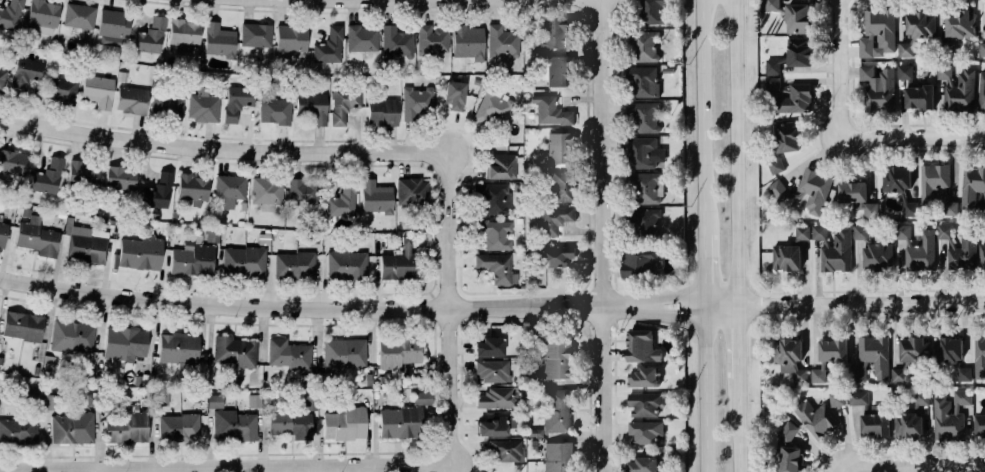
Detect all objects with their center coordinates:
road: (427, 1)
building: (769, 5)
building: (652, 11)
building: (10, 13)
building: (78, 15)
building: (43, 16)
building: (798, 18)
building: (920, 25)
building: (113, 27)
building: (957, 29)
building: (547, 33)
building: (182, 34)
building: (255, 34)
building: (877, 34)
building: (149, 35)
building: (290, 37)
building: (359, 38)
building: (218, 39)
building: (430, 39)
building: (502, 41)
building: (396, 42)
building: (467, 42)
building: (645, 45)
building: (329, 46)
building: (908, 49)
building: (982, 49)
building: (799, 51)
road: (585, 54)
building: (0, 64)
road: (838, 65)
building: (772, 66)
building: (558, 71)
building: (904, 72)
building: (24, 74)
building: (2, 79)
building: (643, 81)
building: (878, 88)
building: (956, 88)
building: (60, 89)
building: (96, 89)
building: (981, 93)
building: (454, 95)
building: (789, 96)
building: (919, 97)
building: (130, 99)
building: (236, 100)
building: (415, 101)
street lamp: (829, 101)
building: (343, 104)
building: (491, 104)
building: (202, 105)
building: (165, 106)
building: (312, 106)
building: (275, 110)
building: (548, 110)
building: (382, 112)
building: (643, 115)
road: (706, 116)
road: (852, 121)
road: (858, 123)
road: (912, 135)
building: (785, 137)
road: (350, 138)
road: (611, 140)
road: (221, 148)
building: (559, 148)
building: (640, 152)
road: (599, 153)
road: (735, 153)
road: (824, 157)
building: (12, 162)
building: (774, 165)
building: (500, 166)
building: (83, 174)
building: (47, 176)
building: (119, 177)
building: (971, 185)
building: (561, 186)
building: (643, 186)
building: (191, 187)
building: (936, 187)
building: (901, 188)
building: (230, 189)
building: (814, 189)
building: (410, 190)
building: (158, 191)
building: (267, 192)
building: (304, 192)
building: (779, 193)
building: (376, 196)
building: (493, 197)
building: (858, 198)
building: (343, 200)
building: (980, 200)
street lamp: (610, 204)
building: (551, 218)
building: (645, 223)
road: (580, 229)
building: (819, 232)
building: (861, 232)
building: (2, 233)
building: (495, 233)
building: (801, 233)
building: (945, 233)
building: (213, 235)
building: (35, 236)
building: (87, 244)
road: (587, 249)
building: (917, 249)
building: (139, 252)
building: (837, 252)
building: (963, 253)
building: (551, 254)
building: (877, 256)
building: (982, 256)
building: (191, 258)
building: (785, 258)
road: (576, 259)
building: (637, 261)
building: (242, 262)
building: (397, 262)
building: (293, 264)
building: (346, 264)
road: (707, 265)
building: (497, 267)
road: (610, 267)
road: (876, 289)
road: (598, 290)
road: (0, 294)
road: (721, 298)
road: (654, 299)
road: (299, 305)
road: (612, 305)
road: (860, 305)
road: (587, 307)
road: (447, 309)
road: (654, 312)
road: (721, 312)
road: (879, 315)
road: (600, 323)
road: (614, 323)
road: (587, 325)
building: (23, 326)
building: (72, 336)
road: (613, 340)
road: (737, 341)
building: (124, 343)
building: (641, 345)
building: (178, 346)
building: (488, 347)
building: (234, 349)
building: (912, 349)
building: (832, 350)
building: (946, 350)
building: (785, 351)
building: (342, 352)
building: (398, 352)
building: (289, 354)
building: (873, 354)
building: (556, 355)
road: (613, 355)
building: (979, 357)
building: (48, 361)
road: (588, 364)
building: (493, 371)
building: (963, 373)
building: (856, 374)
building: (897, 374)
building: (643, 375)
building: (799, 375)
building: (817, 375)
road: (614, 381)
road: (576, 383)
road: (707, 385)
road: (602, 389)
building: (34, 393)
building: (422, 397)
building: (495, 398)
road: (614, 398)
building: (836, 398)
building: (961, 399)
building: (92, 400)
building: (254, 400)
building: (50, 401)
building: (215, 401)
road: (614, 401)
building: (766, 401)
building: (310, 402)
building: (645, 403)
building: (557, 410)
building: (871, 415)
building: (816, 417)
building: (910, 418)
building: (947, 421)
building: (289, 422)
building: (398, 422)
building: (344, 423)
building: (234, 424)
road: (739, 424)
building: (979, 424)
building: (496, 425)
building: (127, 426)
building: (72, 427)
building: (179, 427)
building: (19, 428)
road: (614, 429)
building: (645, 432)
road: (575, 435)
building: (505, 449)
building: (788, 449)
road: (27, 456)
building: (558, 456)
road: (892, 456)
street lamp: (891, 458)
building: (643, 464)
road: (931, 464)
road: (859, 466)
road: (614, 467)
road: (224, 468)

